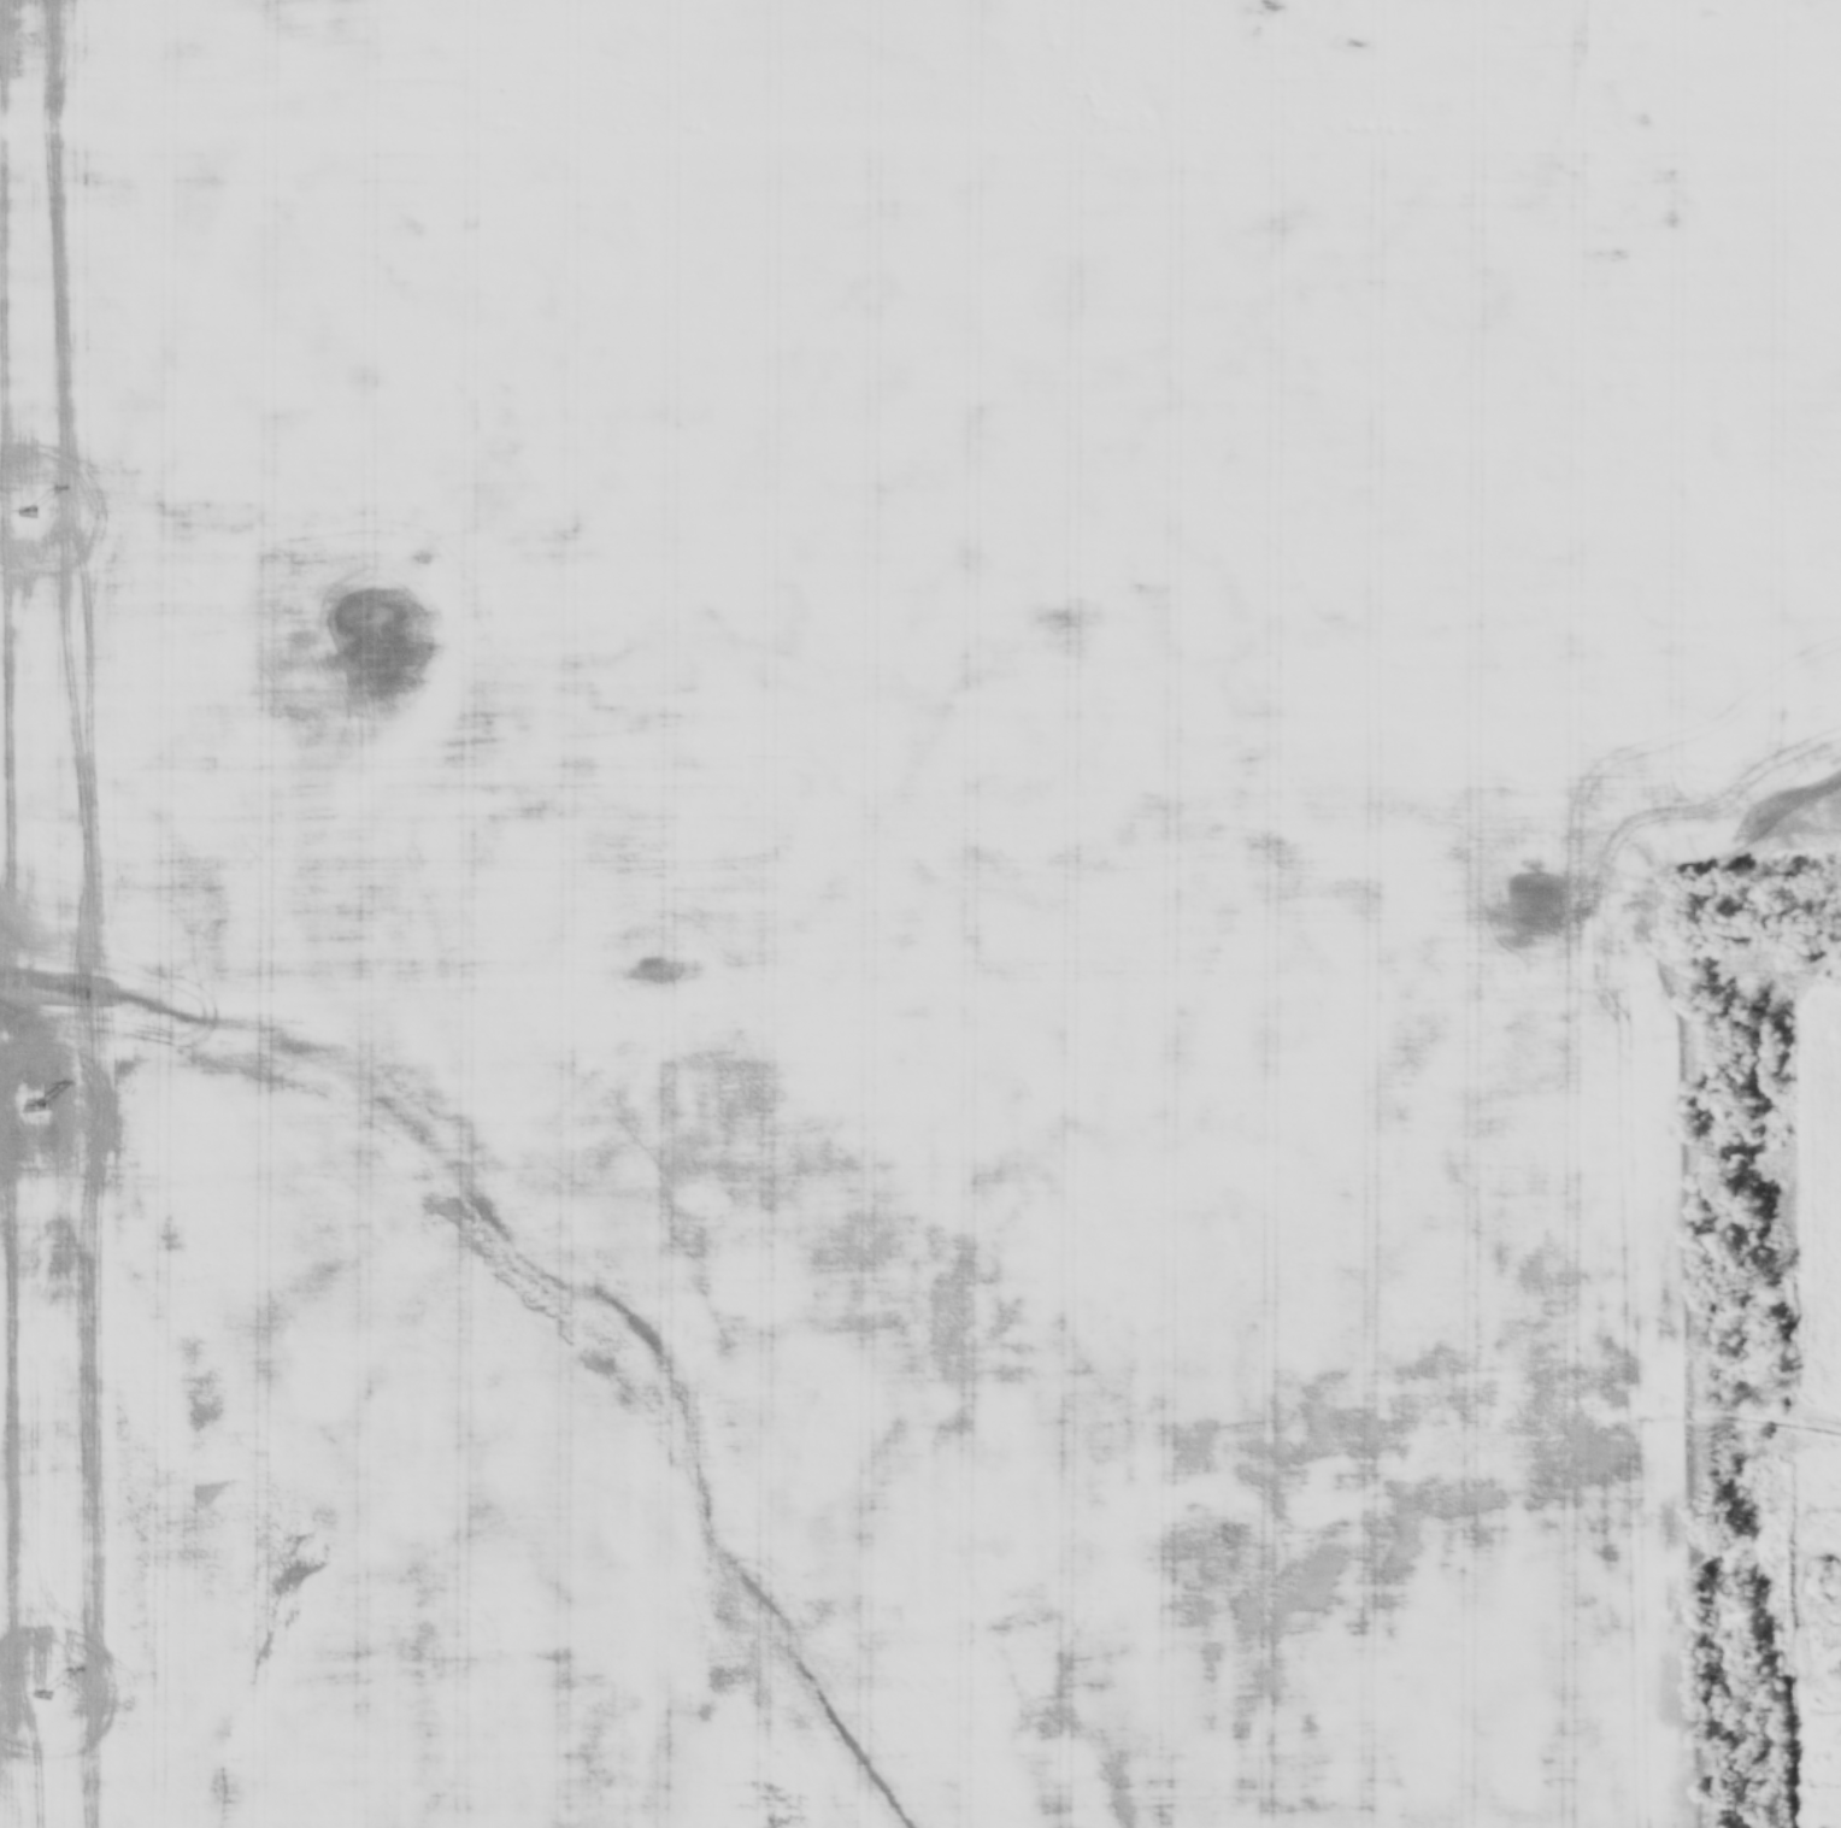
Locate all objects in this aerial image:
power tower: (28, 511)
power tower: (34, 1107)
power tower: (41, 1694)

